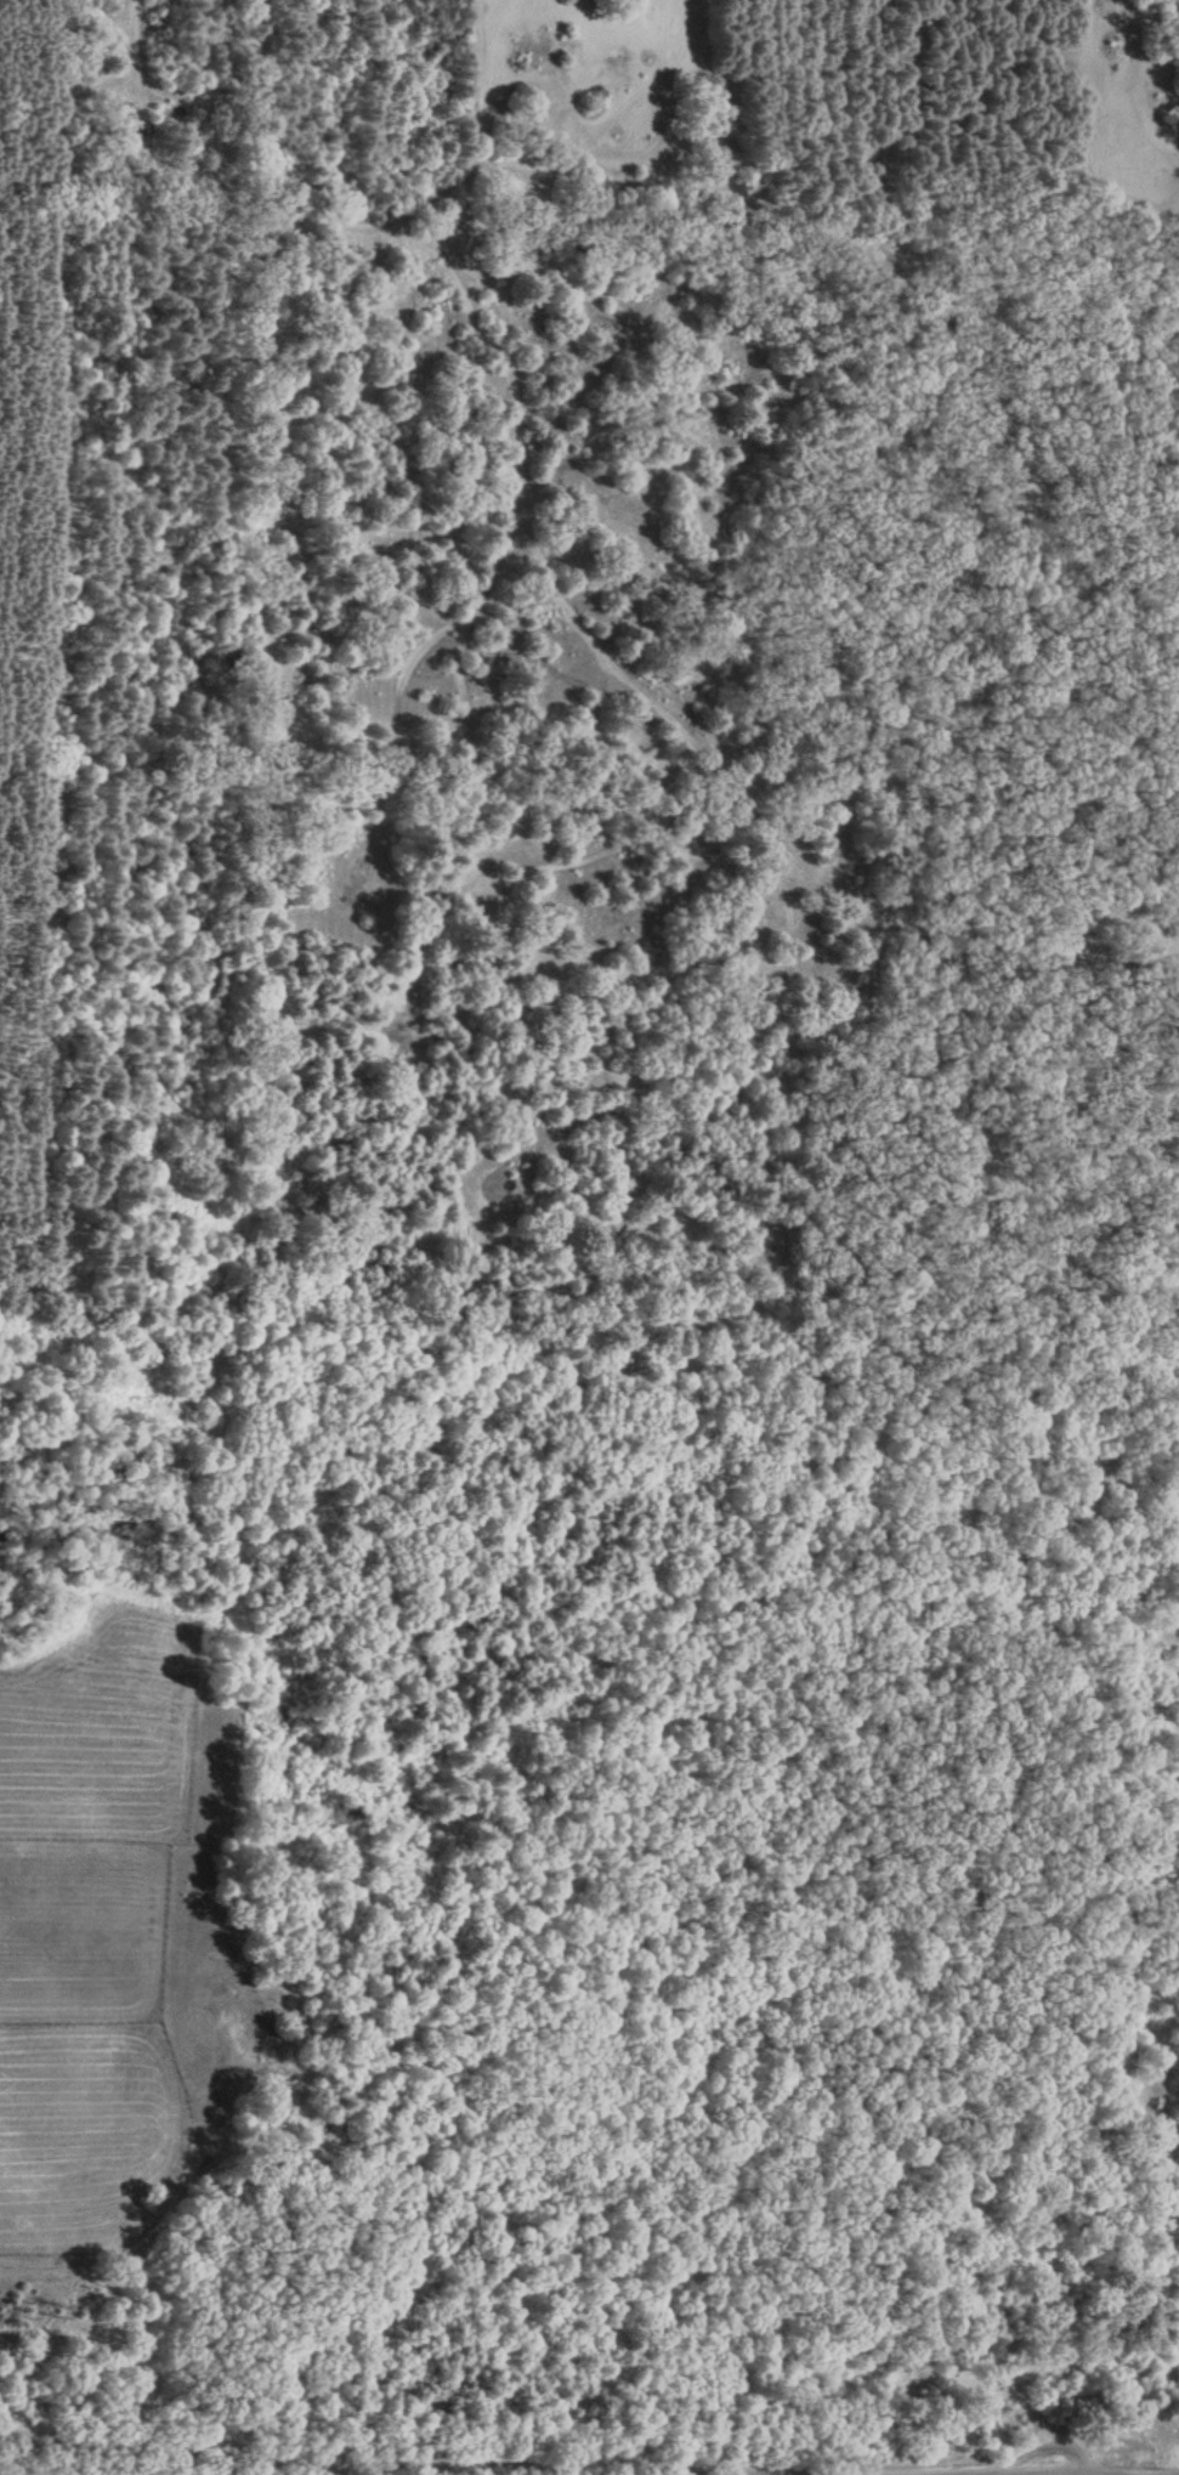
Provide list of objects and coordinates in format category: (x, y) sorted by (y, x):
road: (589, 2460)
road: (1155, 2471)

